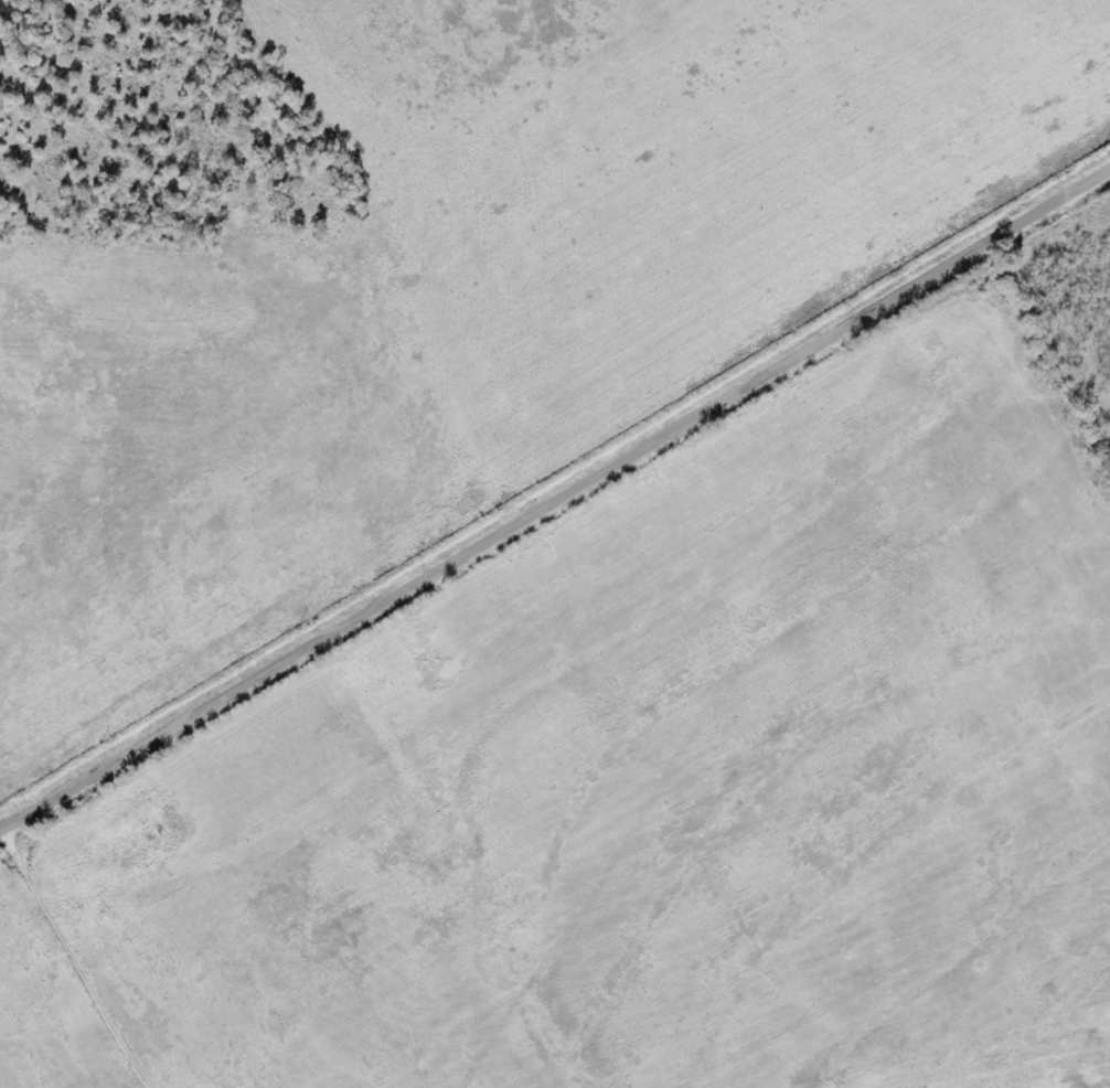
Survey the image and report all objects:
road: (554, 505)

